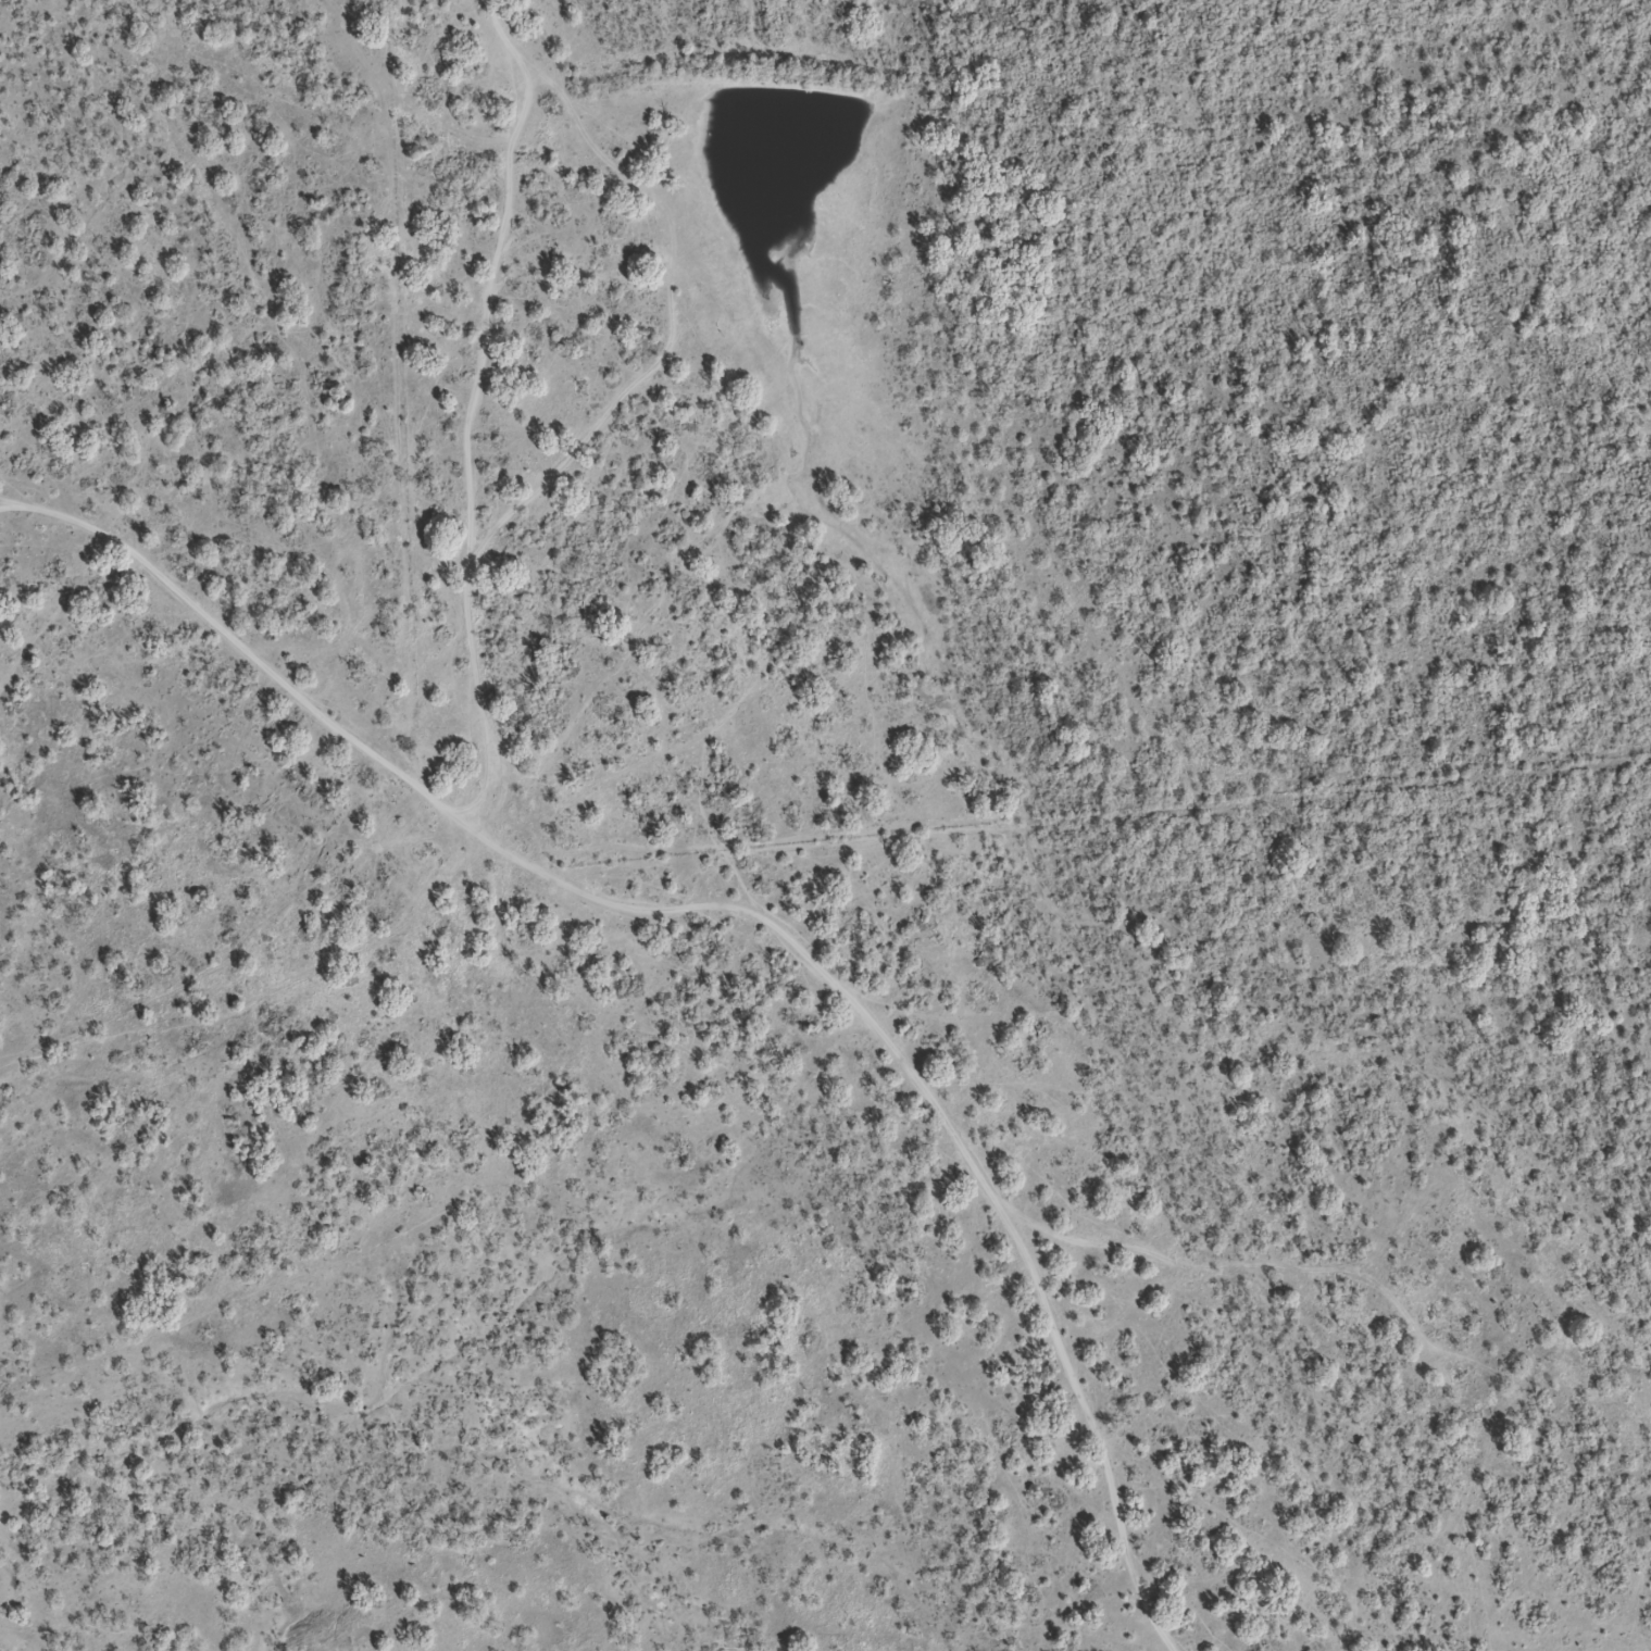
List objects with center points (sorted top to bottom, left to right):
road: (29, 488)
road: (745, 921)

